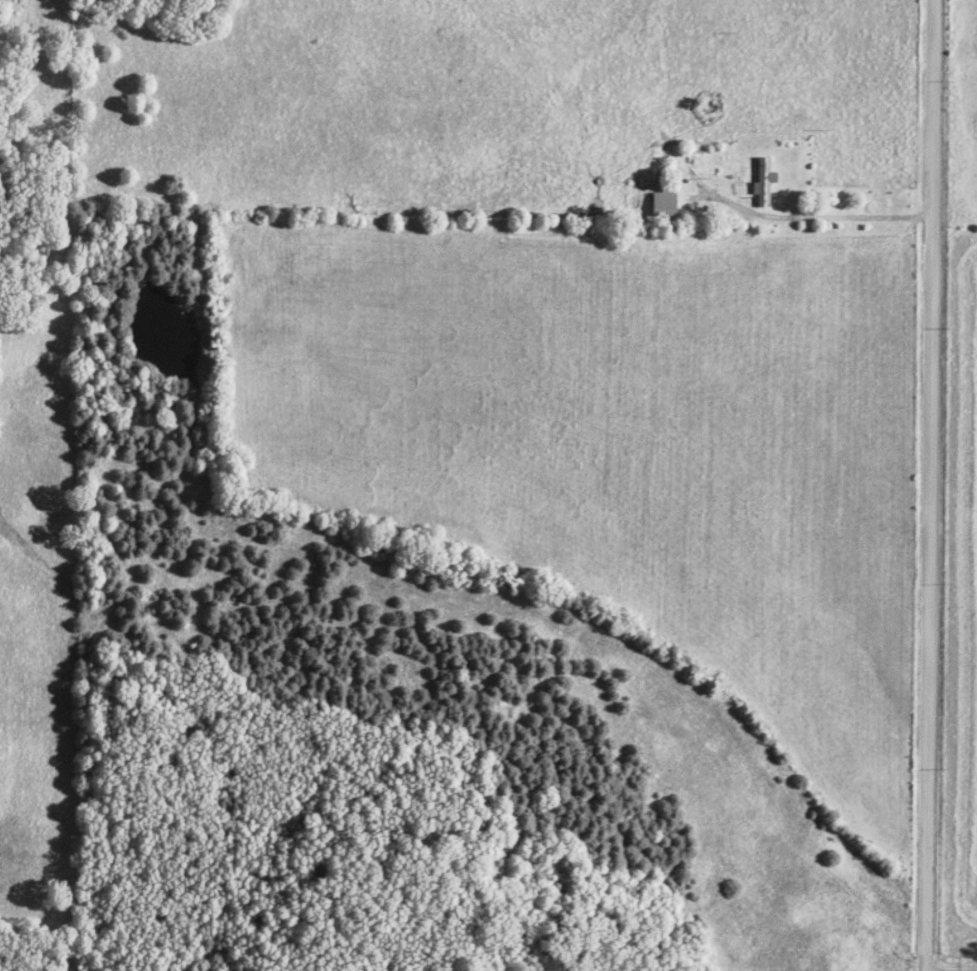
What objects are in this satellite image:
building: (764, 182)
building: (663, 205)
road: (825, 218)
road: (923, 485)
road: (948, 968)

